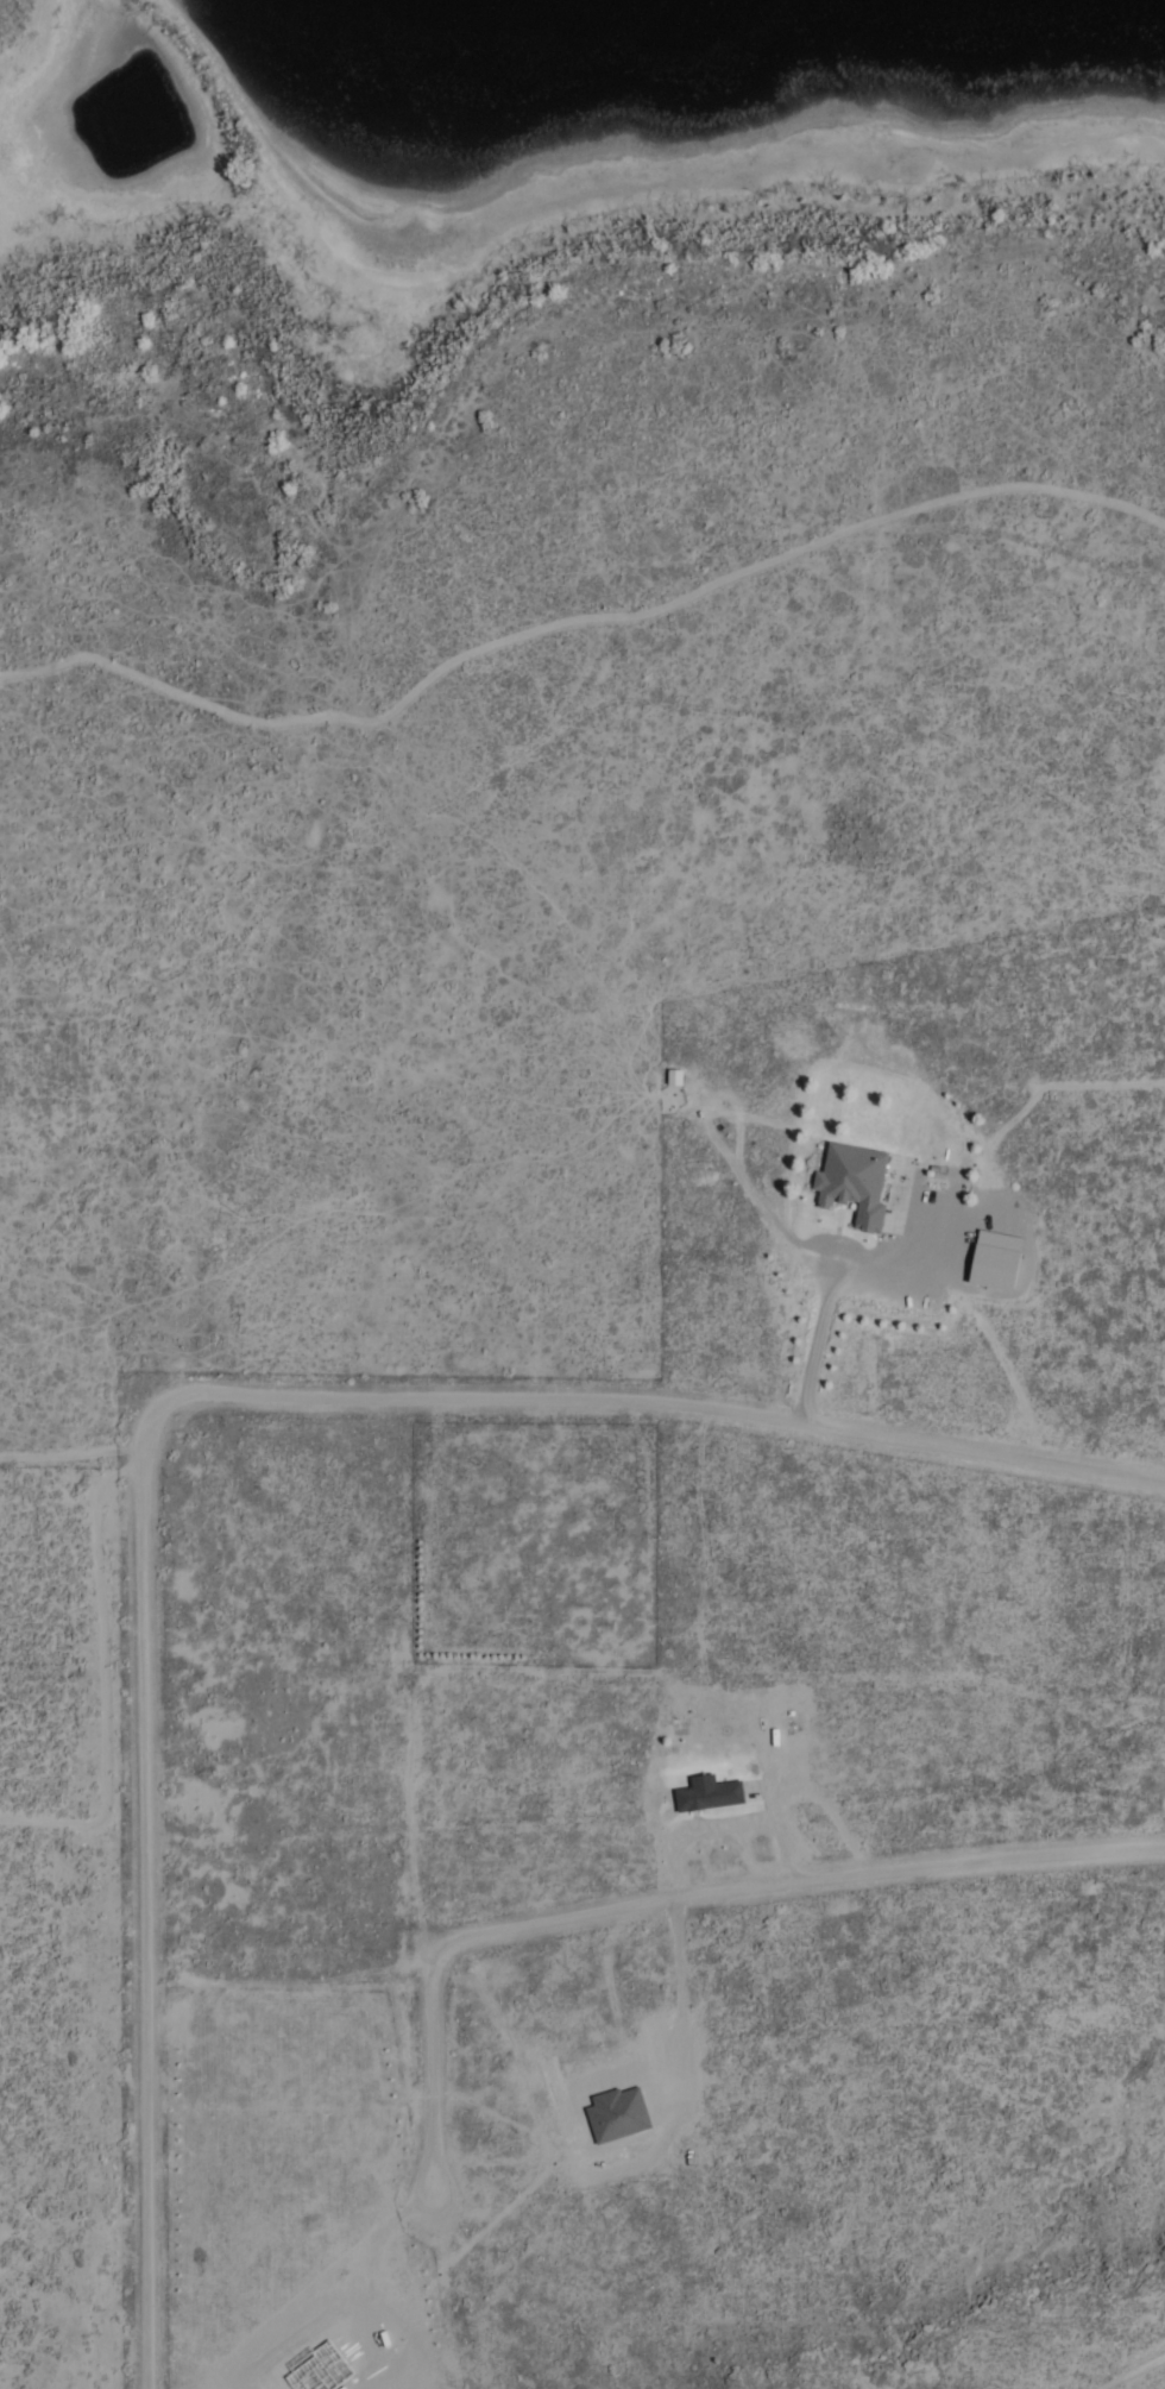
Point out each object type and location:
road: (32, 576)
road: (662, 1409)
road: (145, 1903)
road: (668, 1905)

